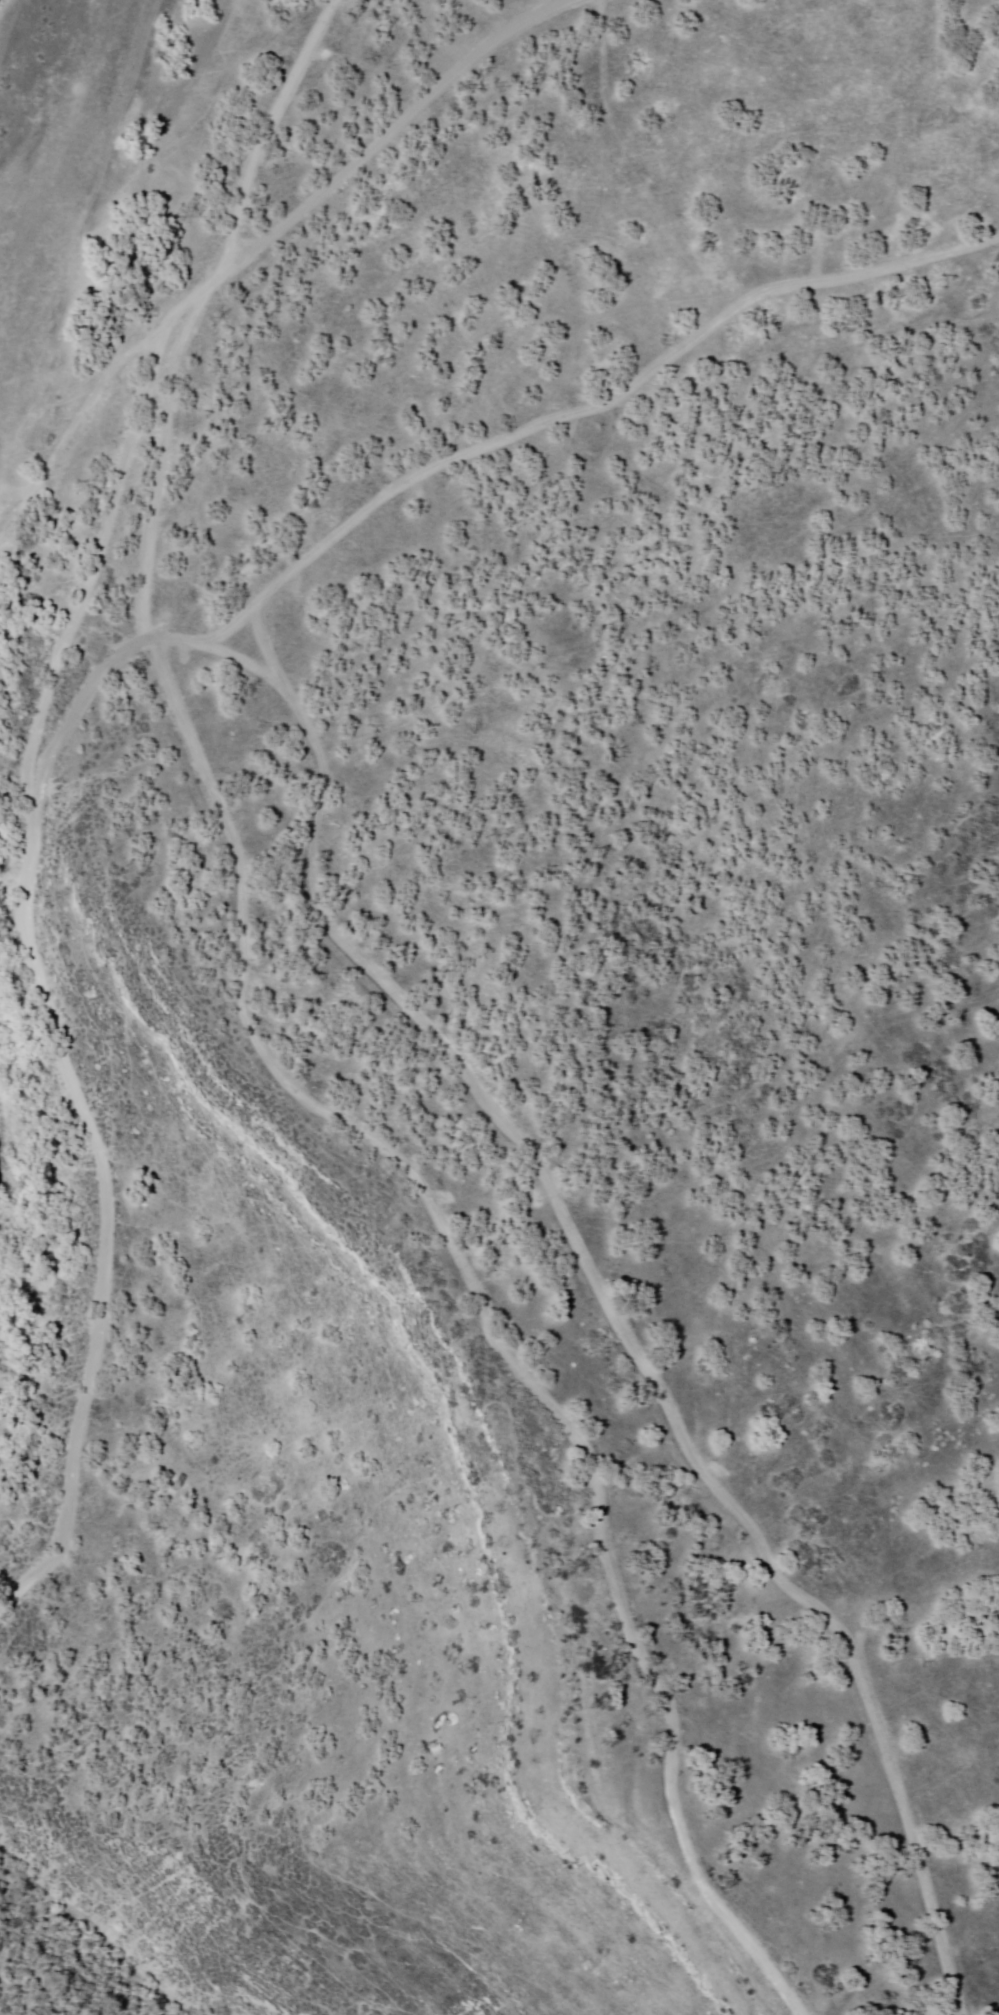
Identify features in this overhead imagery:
road: (270, 130)
road: (242, 259)
road: (316, 845)

